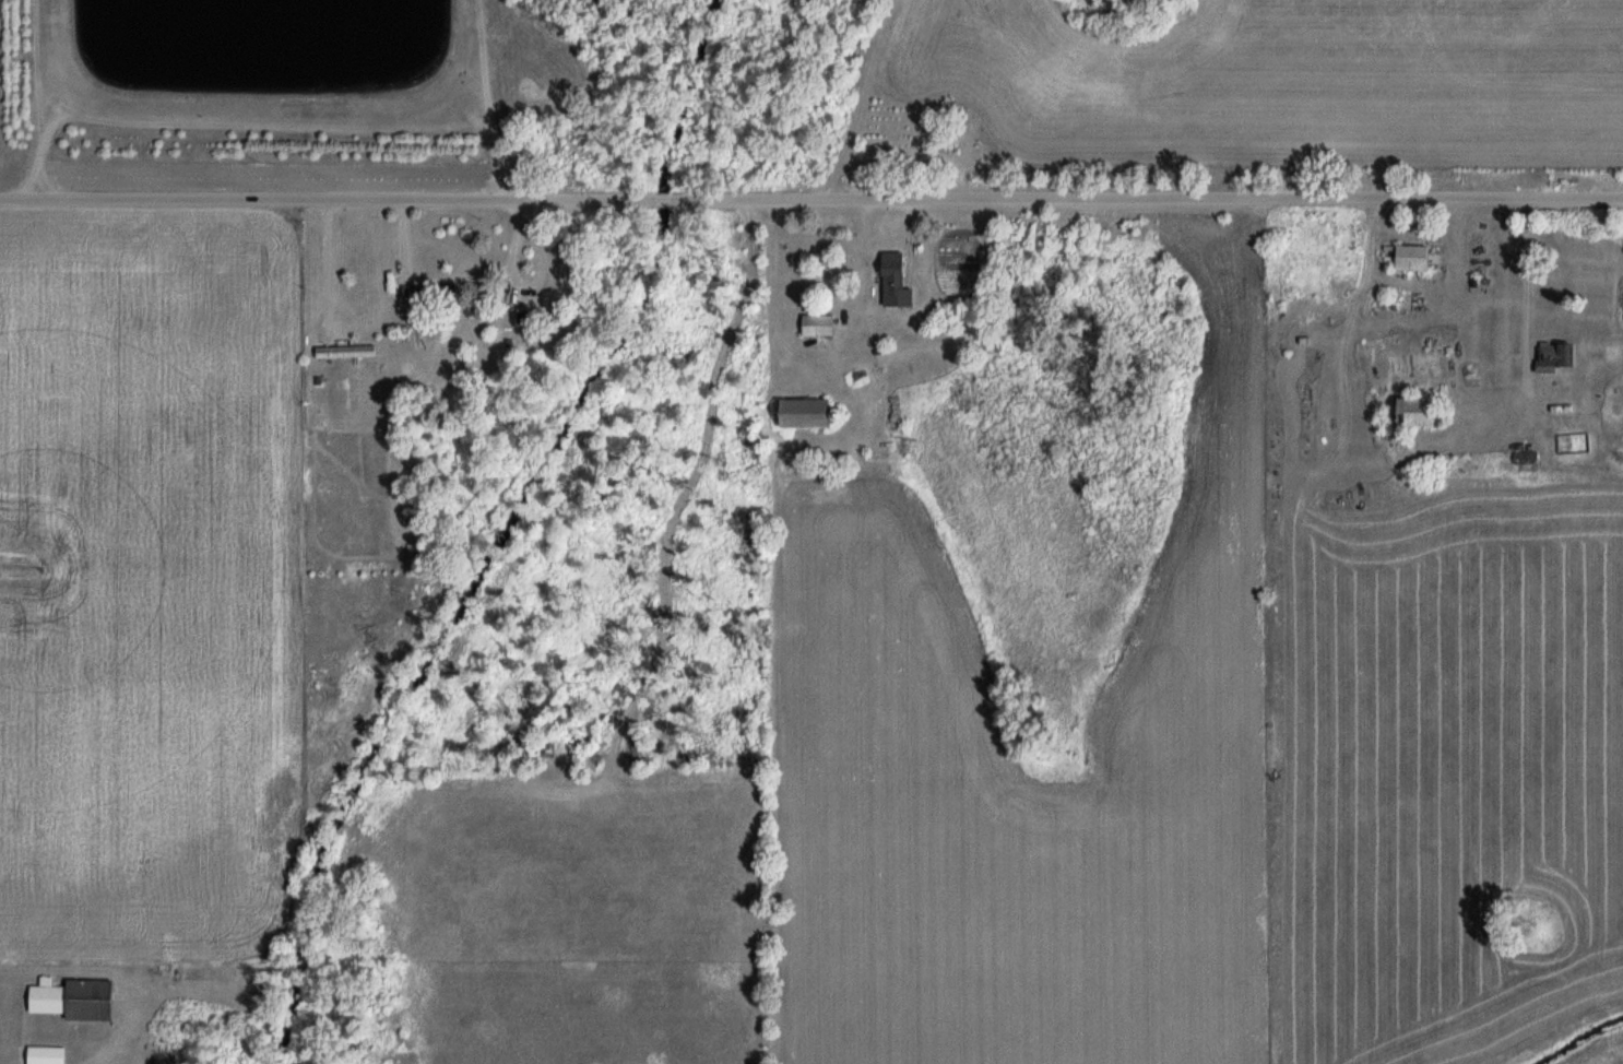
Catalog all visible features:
road: (661, 196)
road: (325, 197)
road: (1146, 197)
building: (1413, 259)
road: (863, 282)
building: (896, 282)
building: (818, 324)
building: (346, 353)
building: (1557, 357)
building: (807, 413)
building: (1420, 413)
building: (1527, 459)
building: (74, 1000)
building: (46, 1055)

